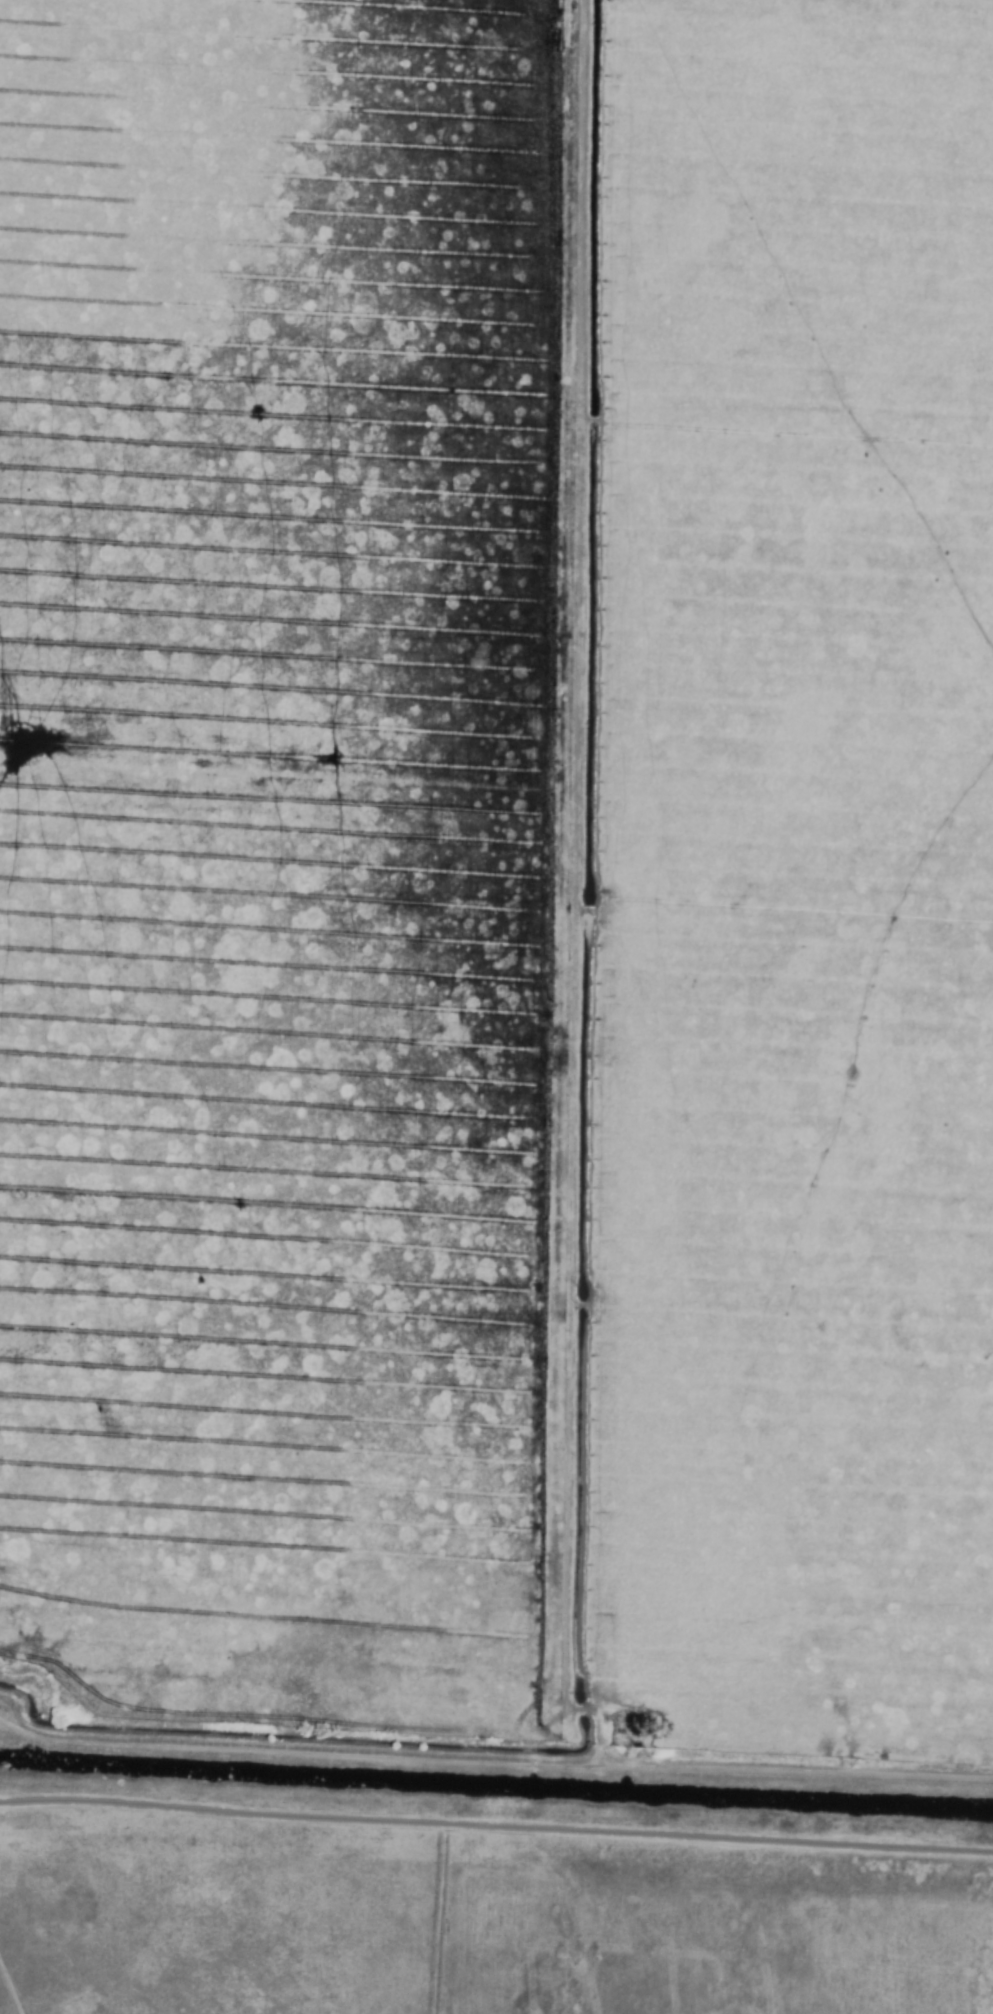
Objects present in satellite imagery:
road: (496, 1829)
road: (9, 1990)

